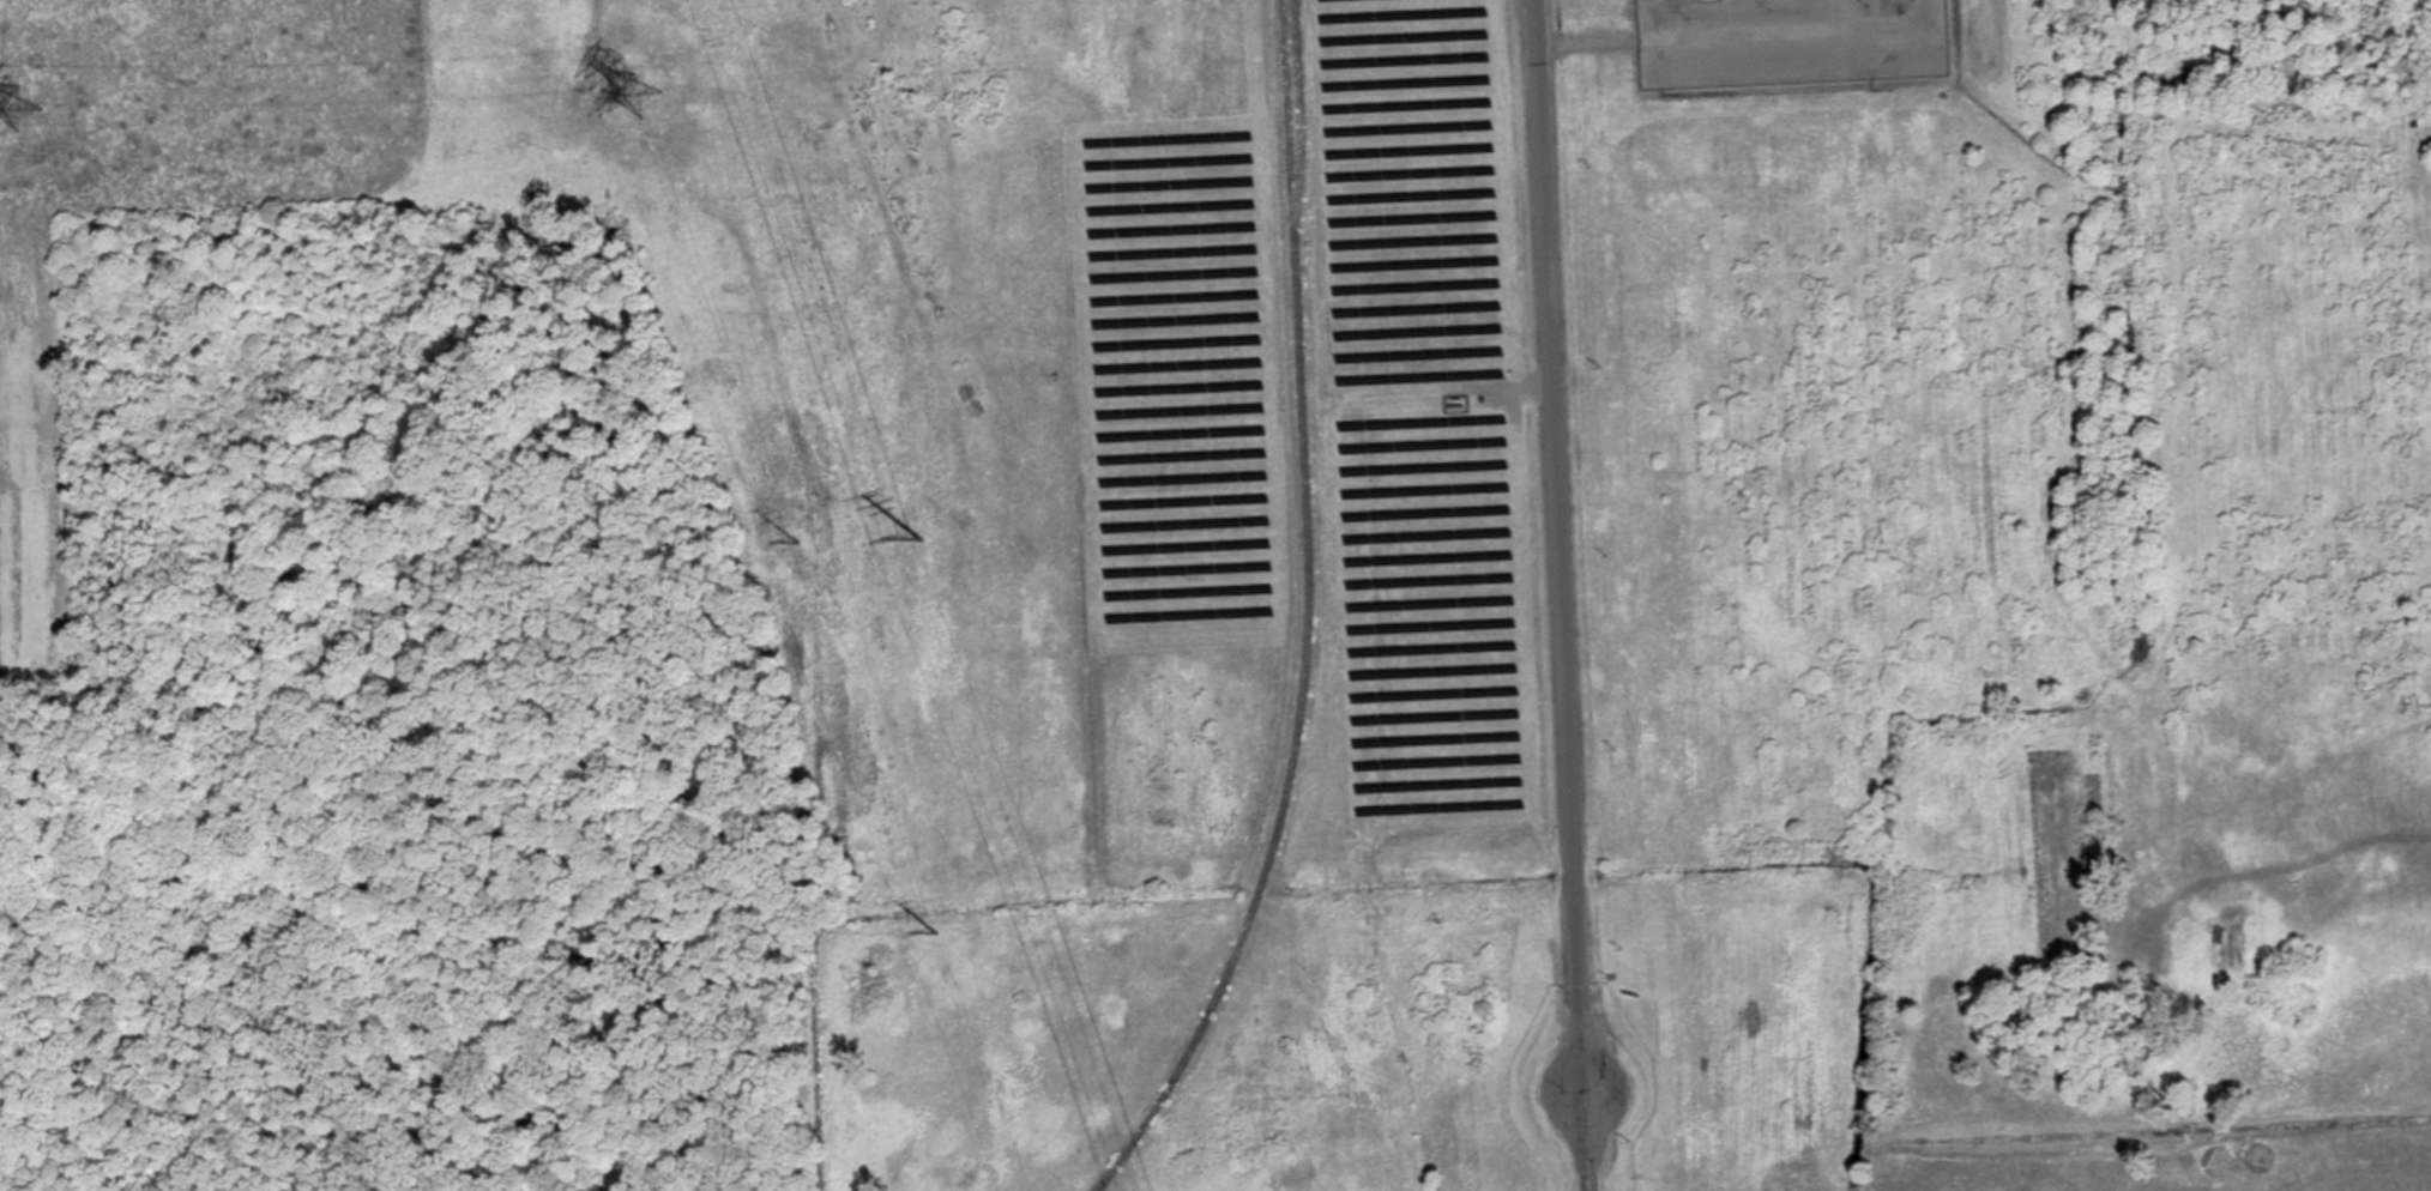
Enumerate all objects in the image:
power plant: (1788, 41)
power tower: (638, 93)
power tower: (26, 108)
power tower: (921, 540)
power tower: (798, 545)
road: (1561, 595)
railway: (1301, 619)
power tower: (936, 932)
road: (2076, 1161)

